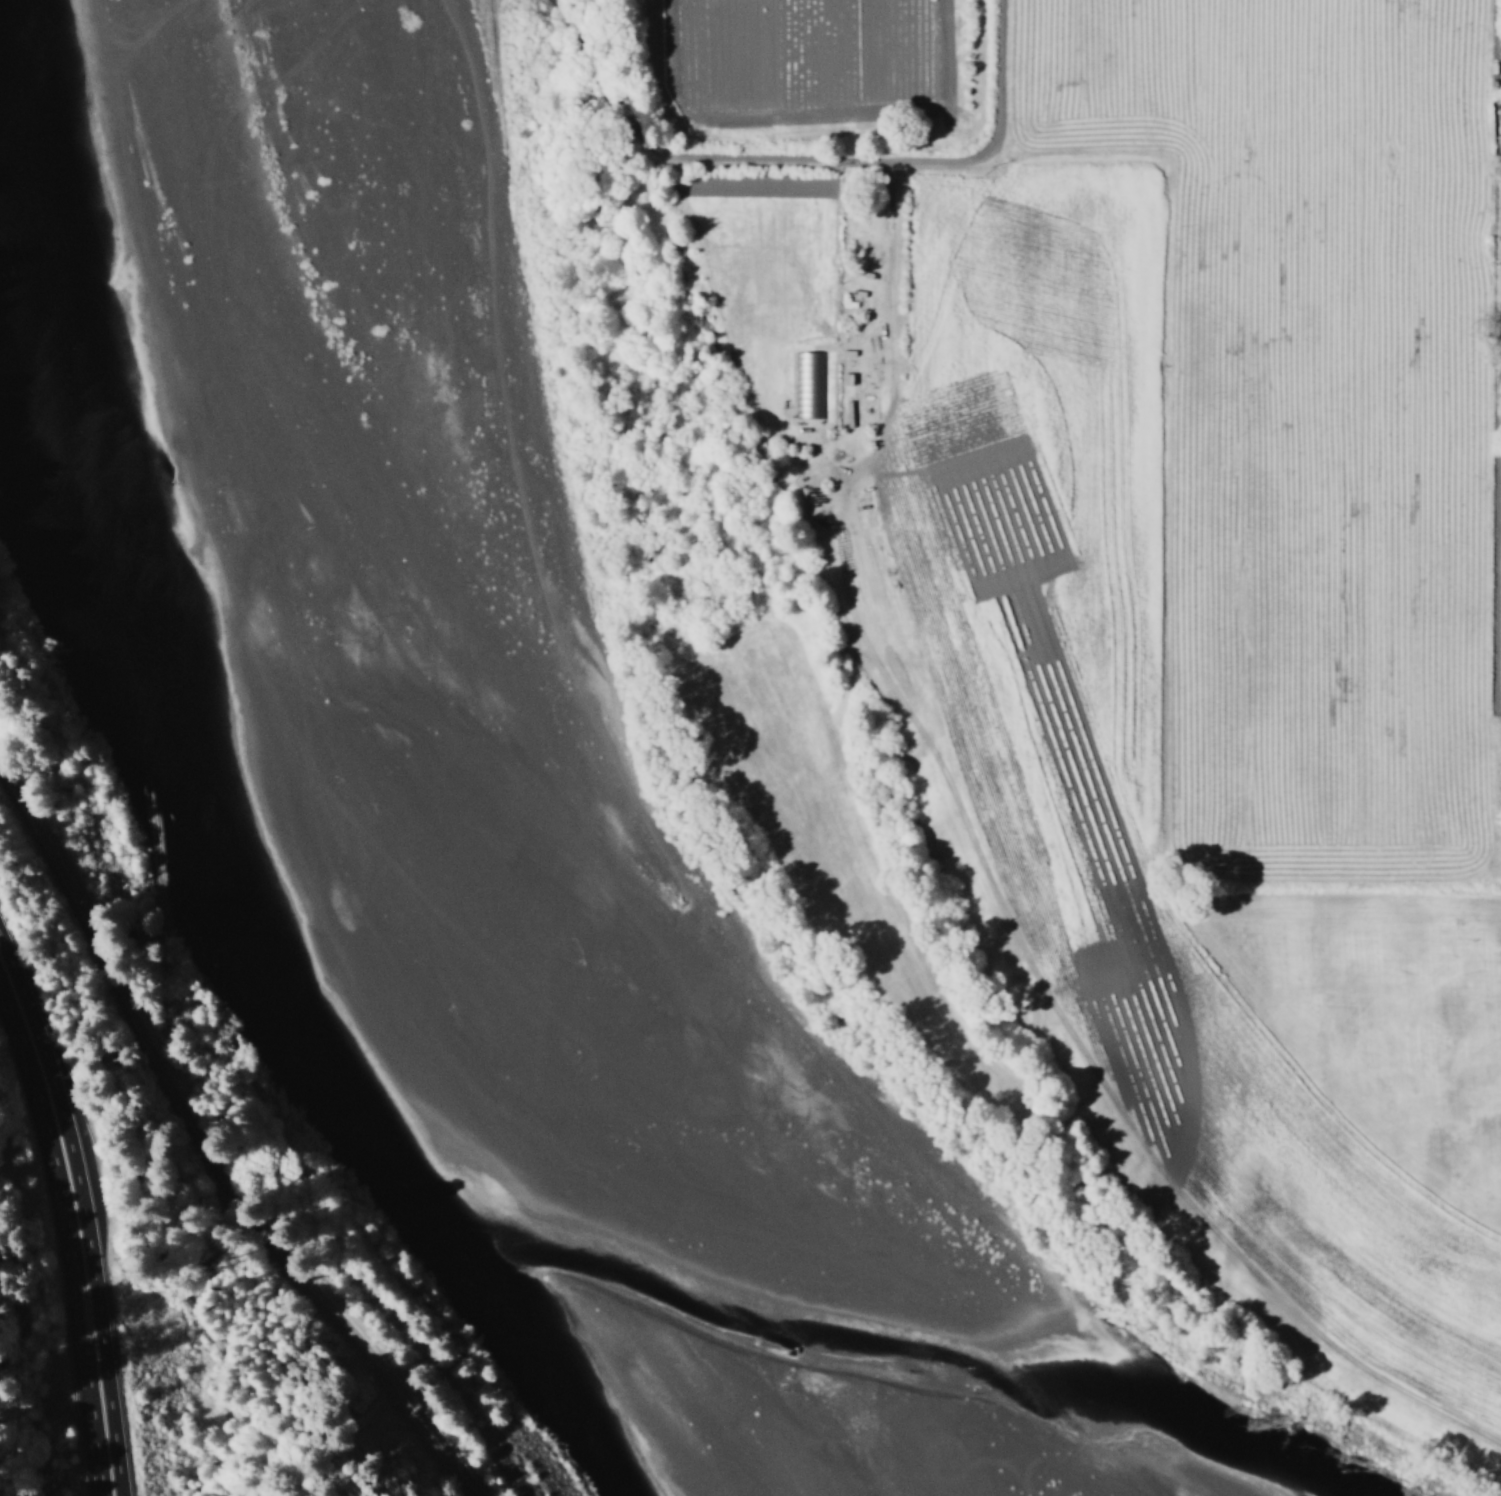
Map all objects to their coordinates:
road: (1492, 69)
road: (1003, 71)
river: (390, 143)
road: (736, 162)
road: (1001, 180)
road: (904, 193)
road: (956, 222)
building: (846, 379)
building: (808, 385)
river: (492, 846)
road: (204, 1160)
road: (80, 1220)

